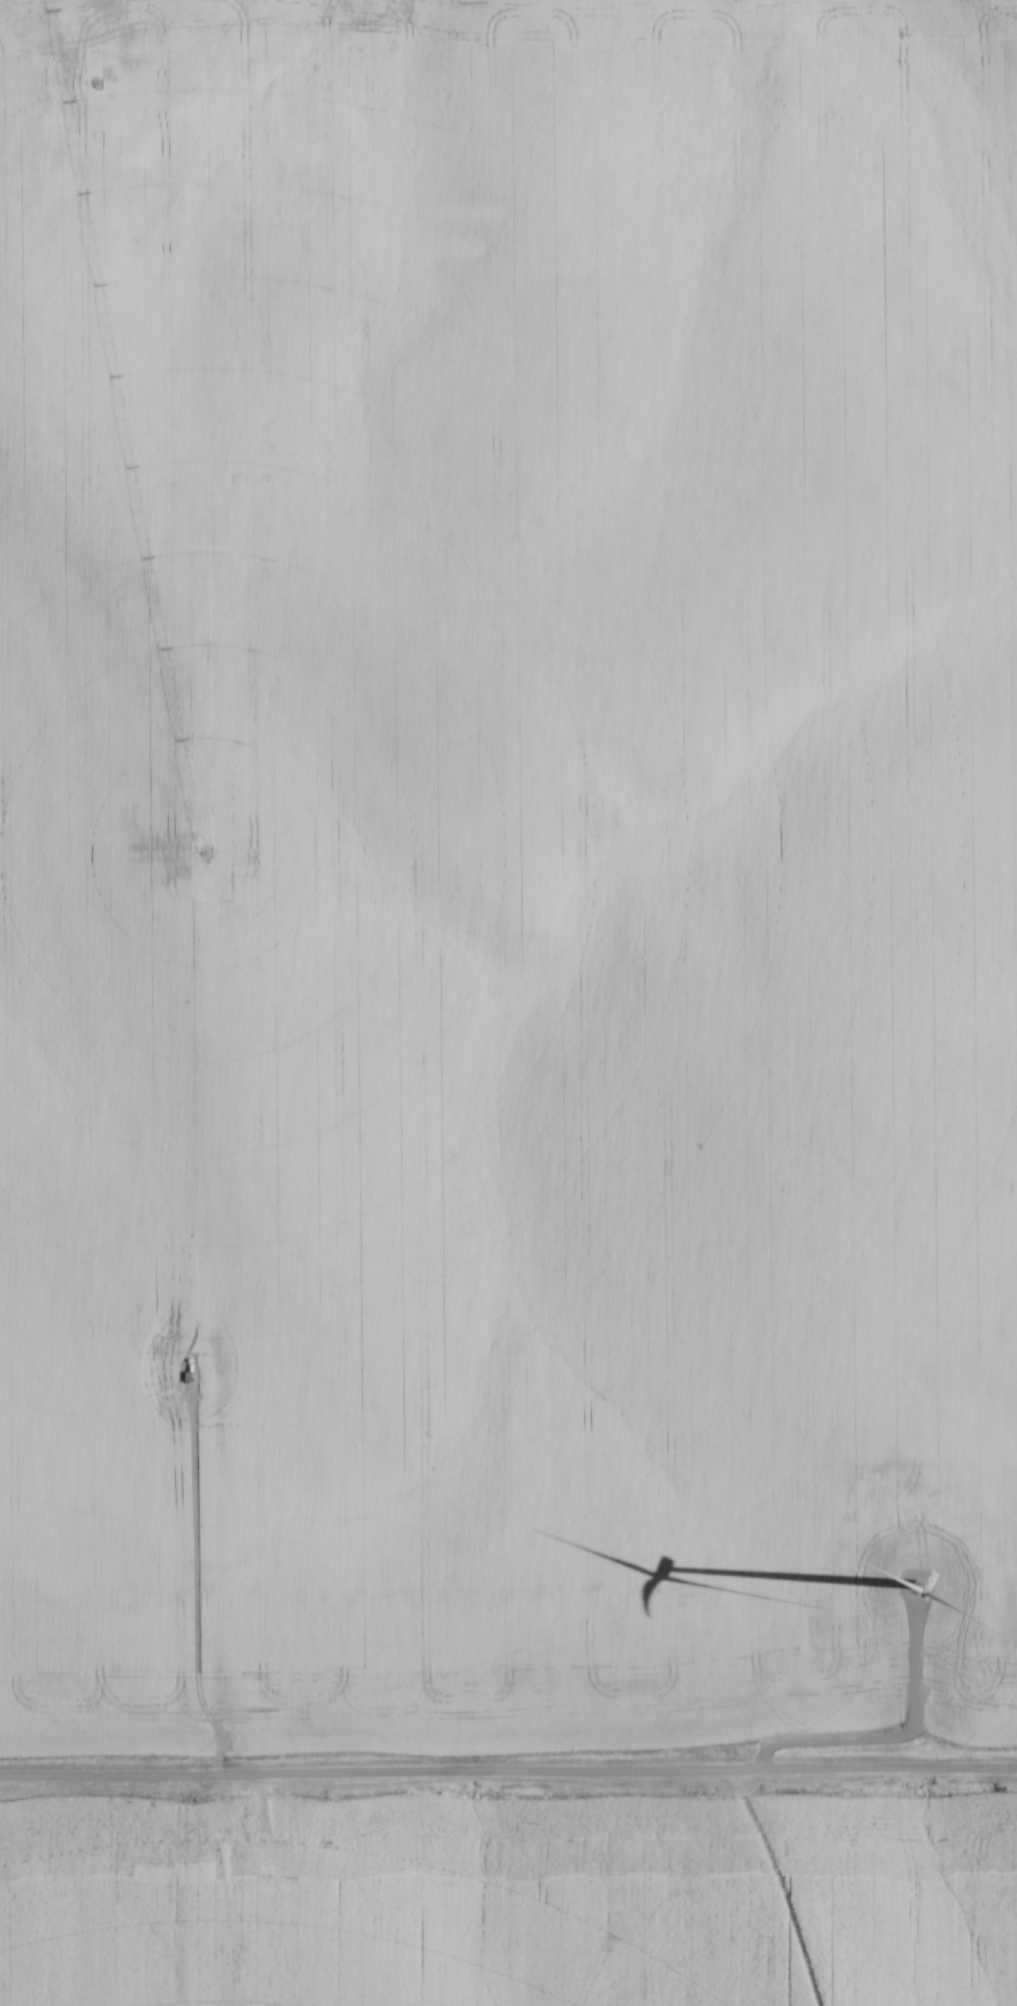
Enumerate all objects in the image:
road: (100, 8)
building: (34, 34)
building: (147, 121)
wind turbine: (914, 1583)
road: (508, 1777)

